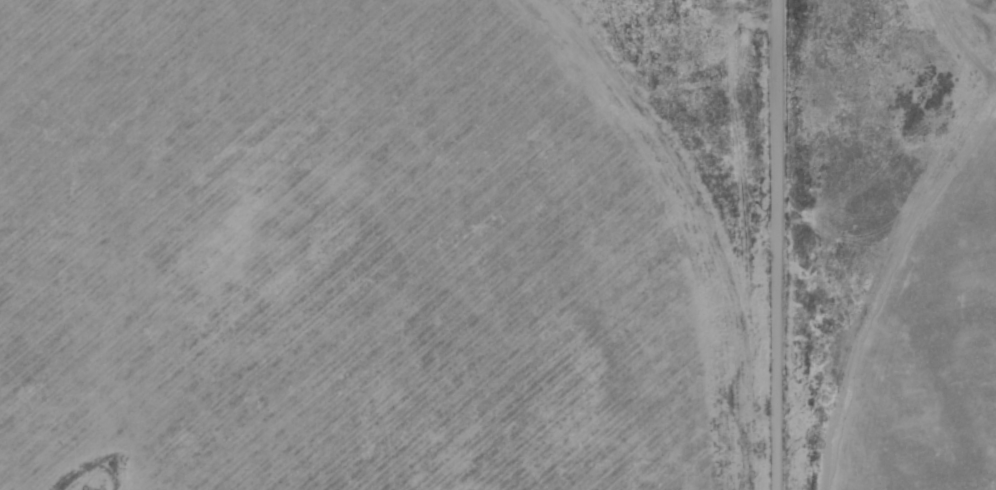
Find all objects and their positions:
road: (780, 316)

